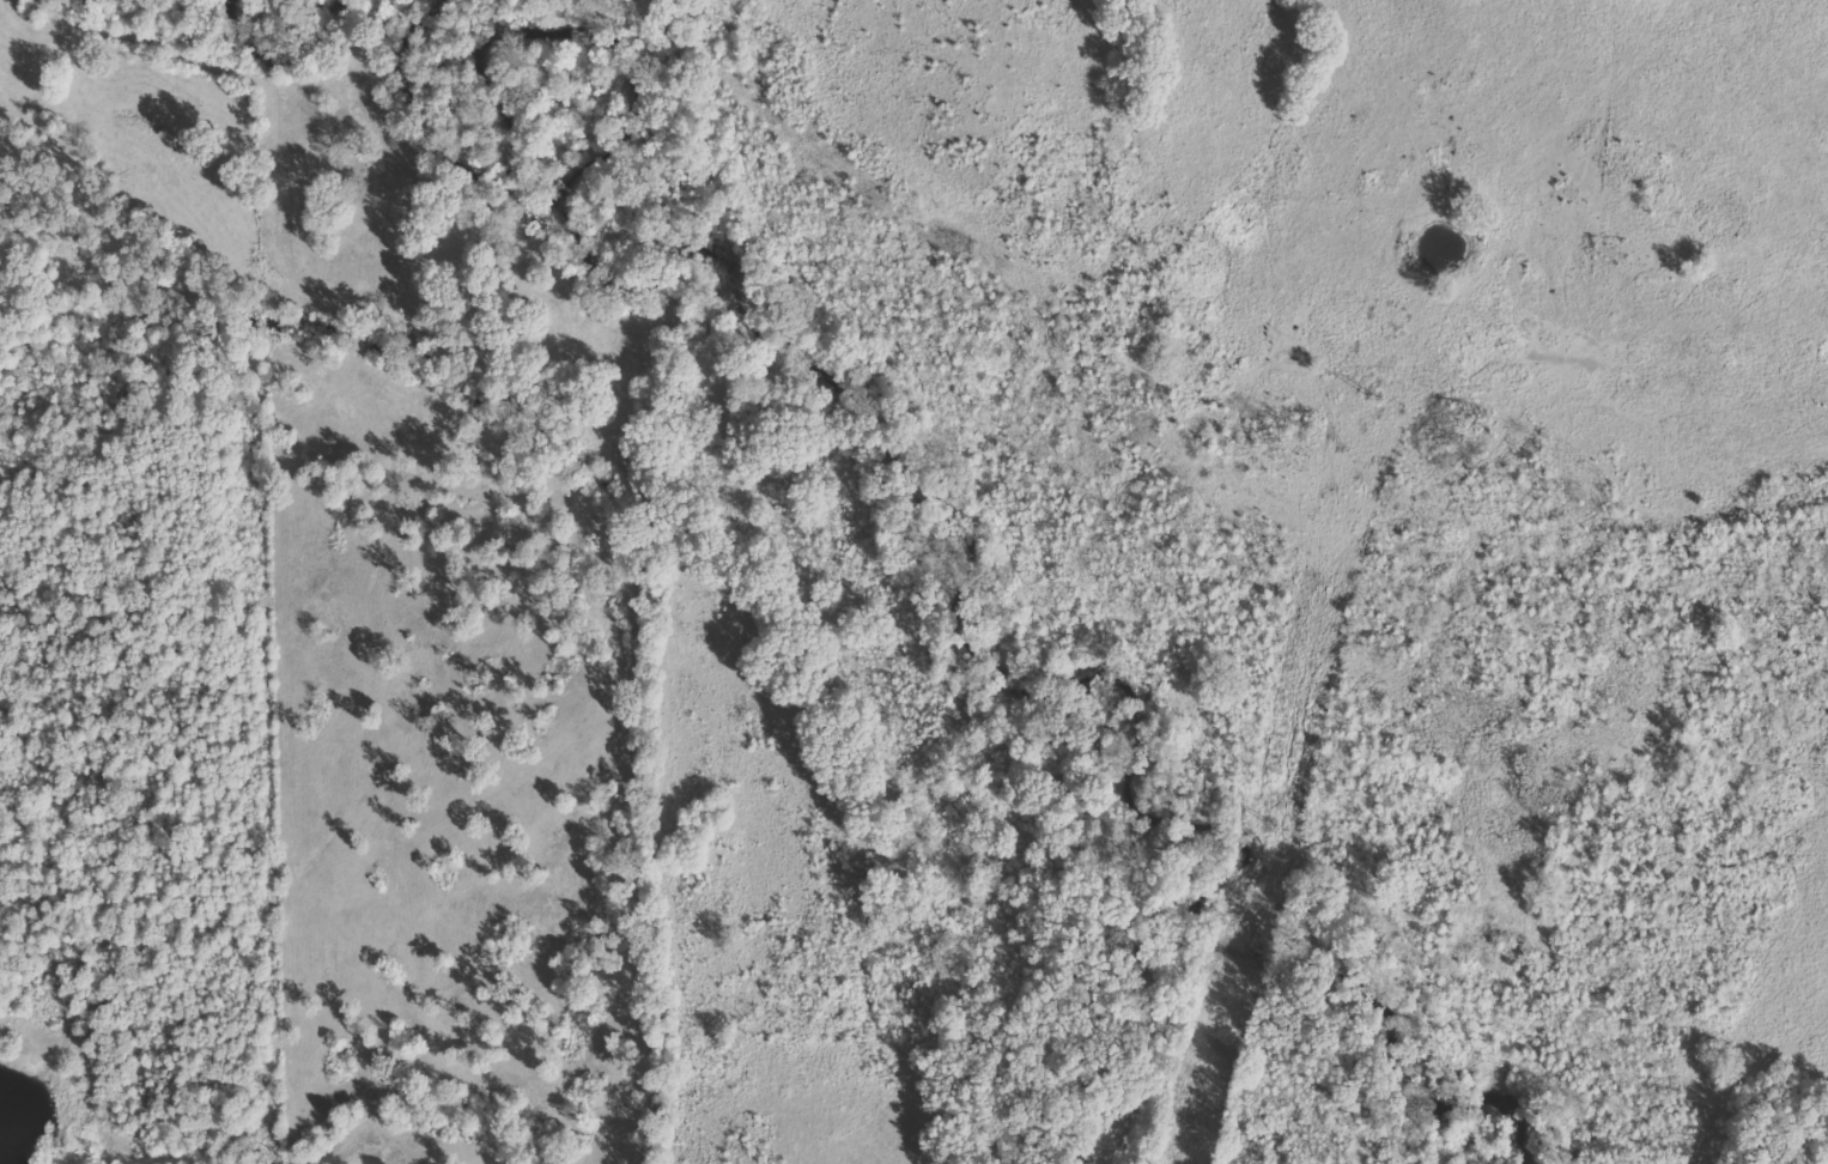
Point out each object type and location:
power tower: (1268, 827)

